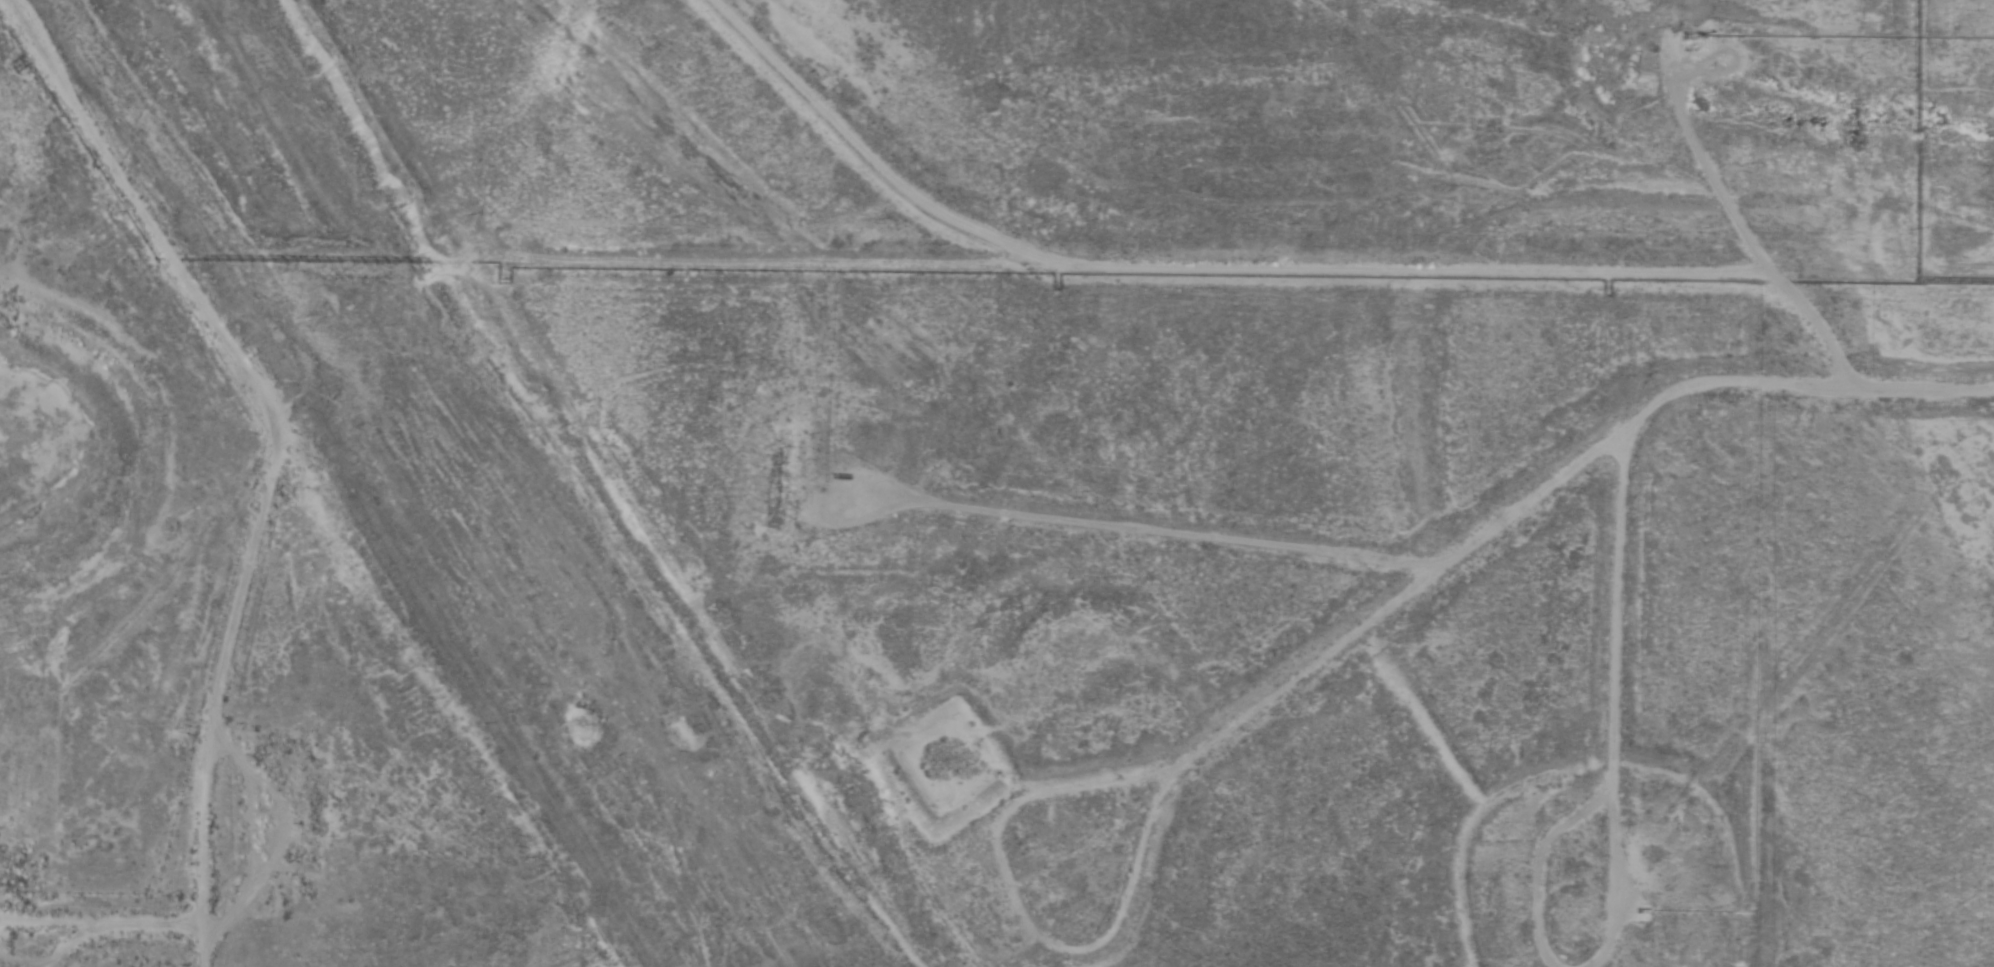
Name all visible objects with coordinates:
road: (1313, 284)
road: (1565, 469)
road: (235, 477)
road: (637, 481)
road: (1645, 633)
road: (1830, 649)
road: (1623, 743)
road: (1187, 823)
road: (1406, 847)
road: (1544, 853)

